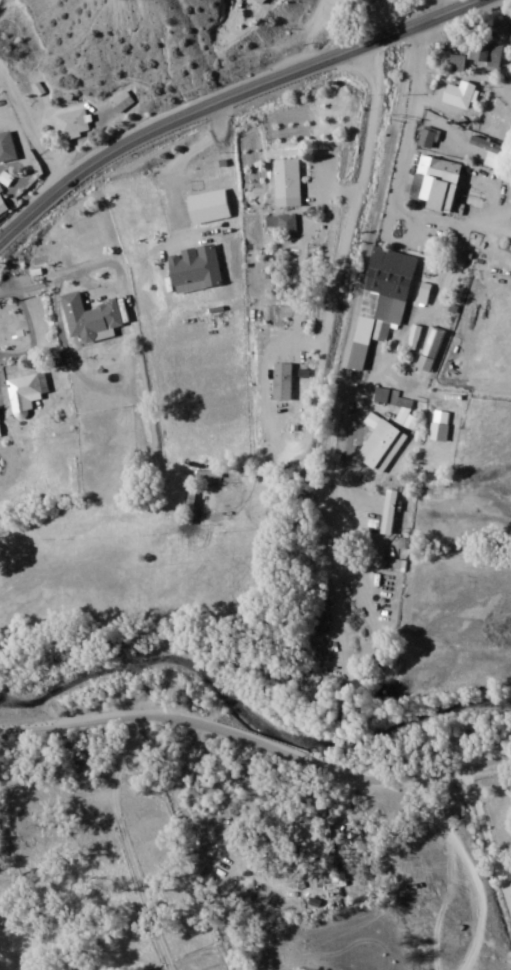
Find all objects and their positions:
building: (262, 1)
building: (509, 18)
building: (491, 54)
building: (457, 61)
road: (467, 73)
building: (38, 87)
building: (461, 92)
road: (229, 95)
building: (121, 100)
building: (73, 122)
building: (428, 136)
building: (7, 145)
building: (489, 148)
road: (401, 163)
building: (287, 181)
building: (439, 182)
building: (3, 202)
building: (209, 205)
building: (282, 221)
road: (342, 239)
building: (196, 267)
building: (384, 295)
building: (91, 316)
building: (431, 347)
building: (283, 380)
building: (23, 392)
building: (403, 409)
building: (439, 424)
building: (380, 441)
building: (390, 510)
river: (247, 708)
road: (82, 718)
road: (334, 773)
road: (487, 841)
road: (196, 843)
road: (125, 844)
building: (508, 867)
road: (467, 870)

